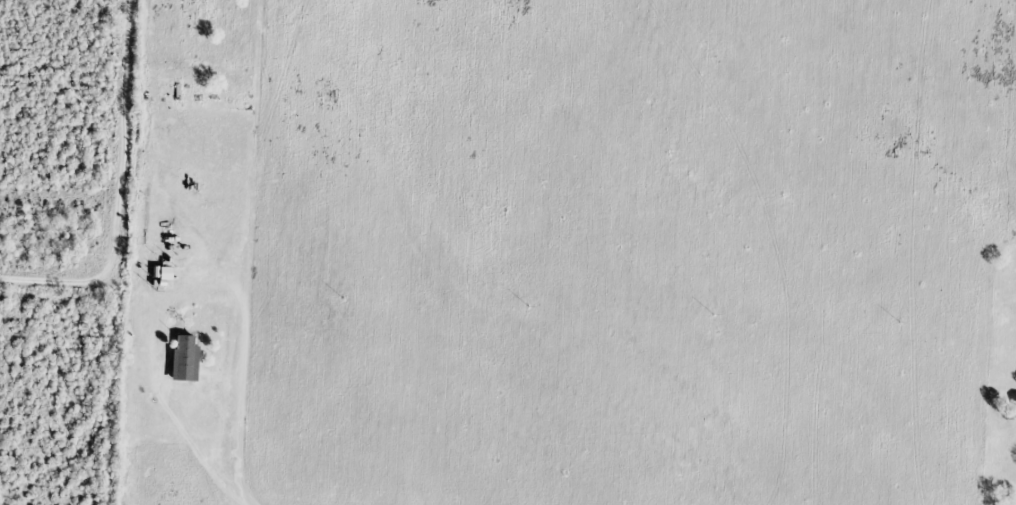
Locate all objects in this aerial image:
building: (185, 351)

